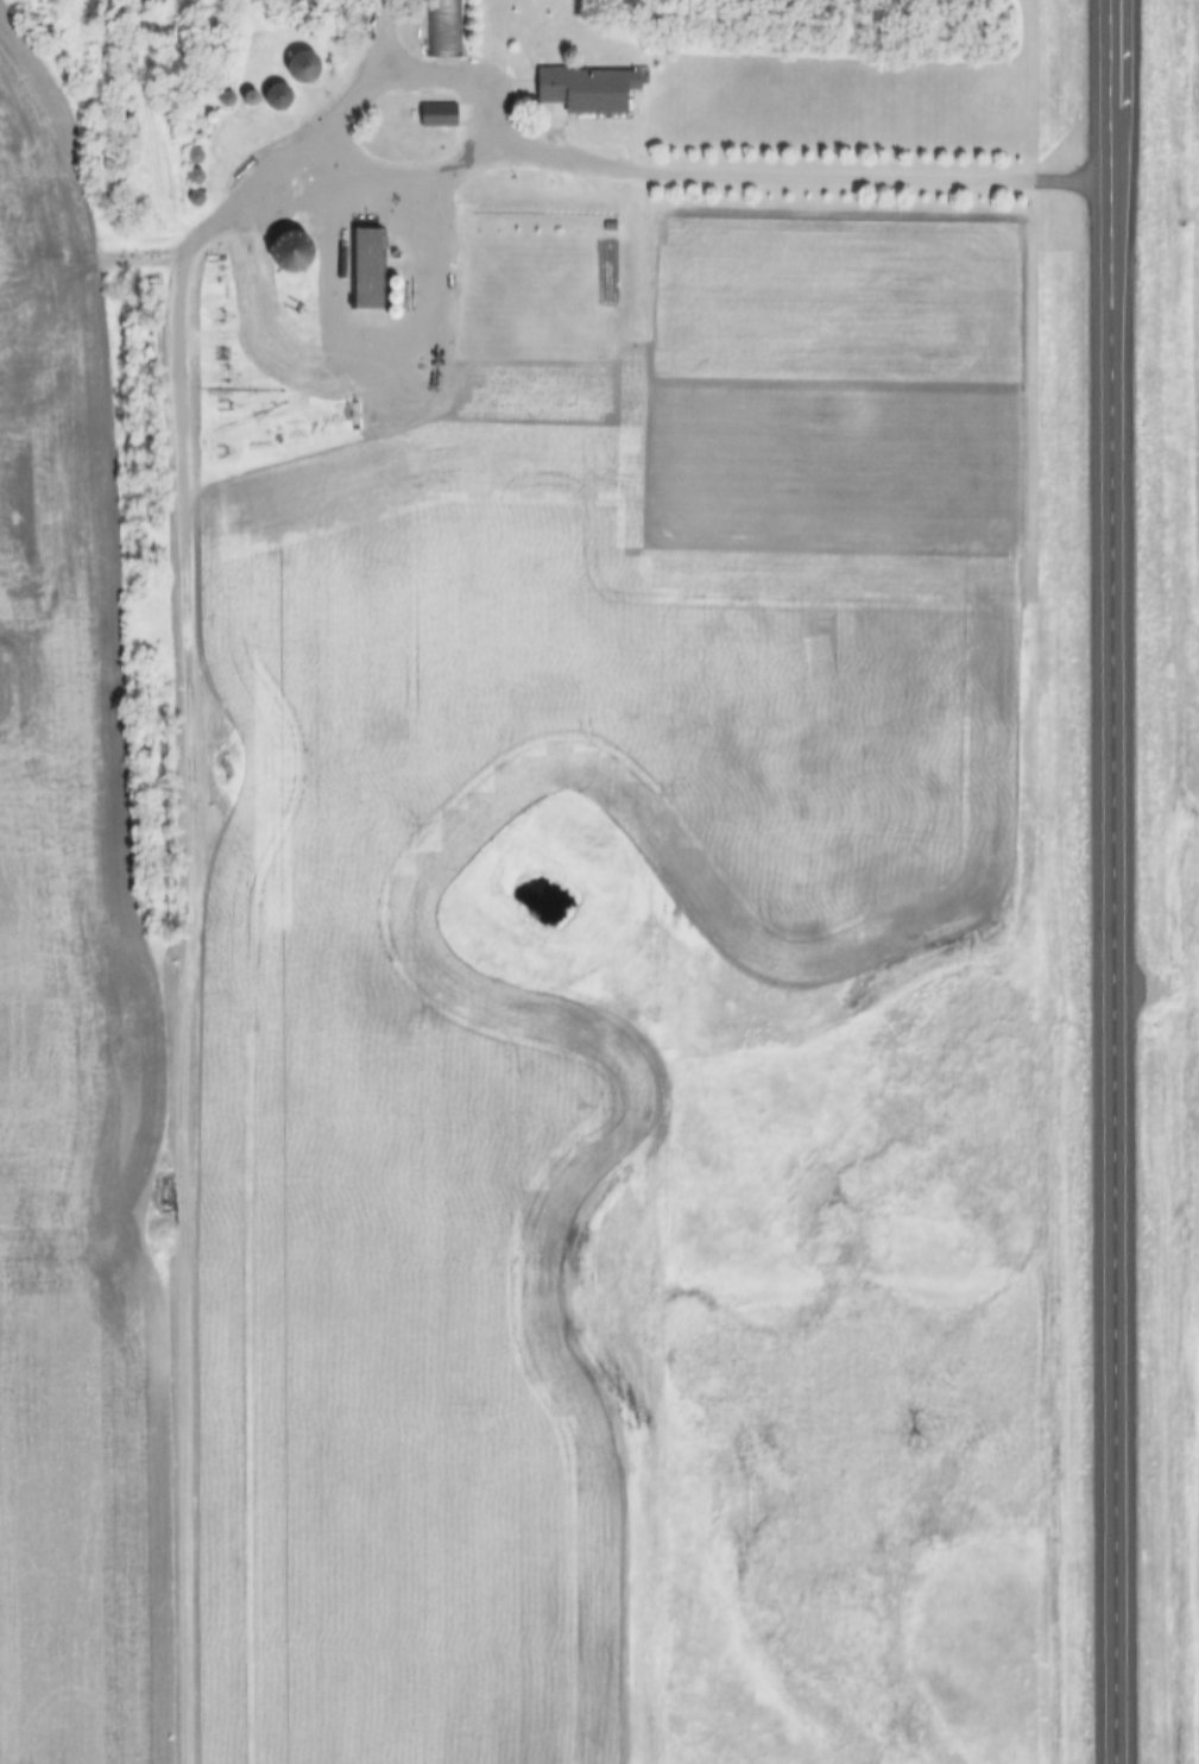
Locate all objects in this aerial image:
building: (446, 26)
building: (310, 65)
building: (595, 88)
building: (285, 96)
building: (443, 114)
road: (707, 165)
road: (1136, 881)

